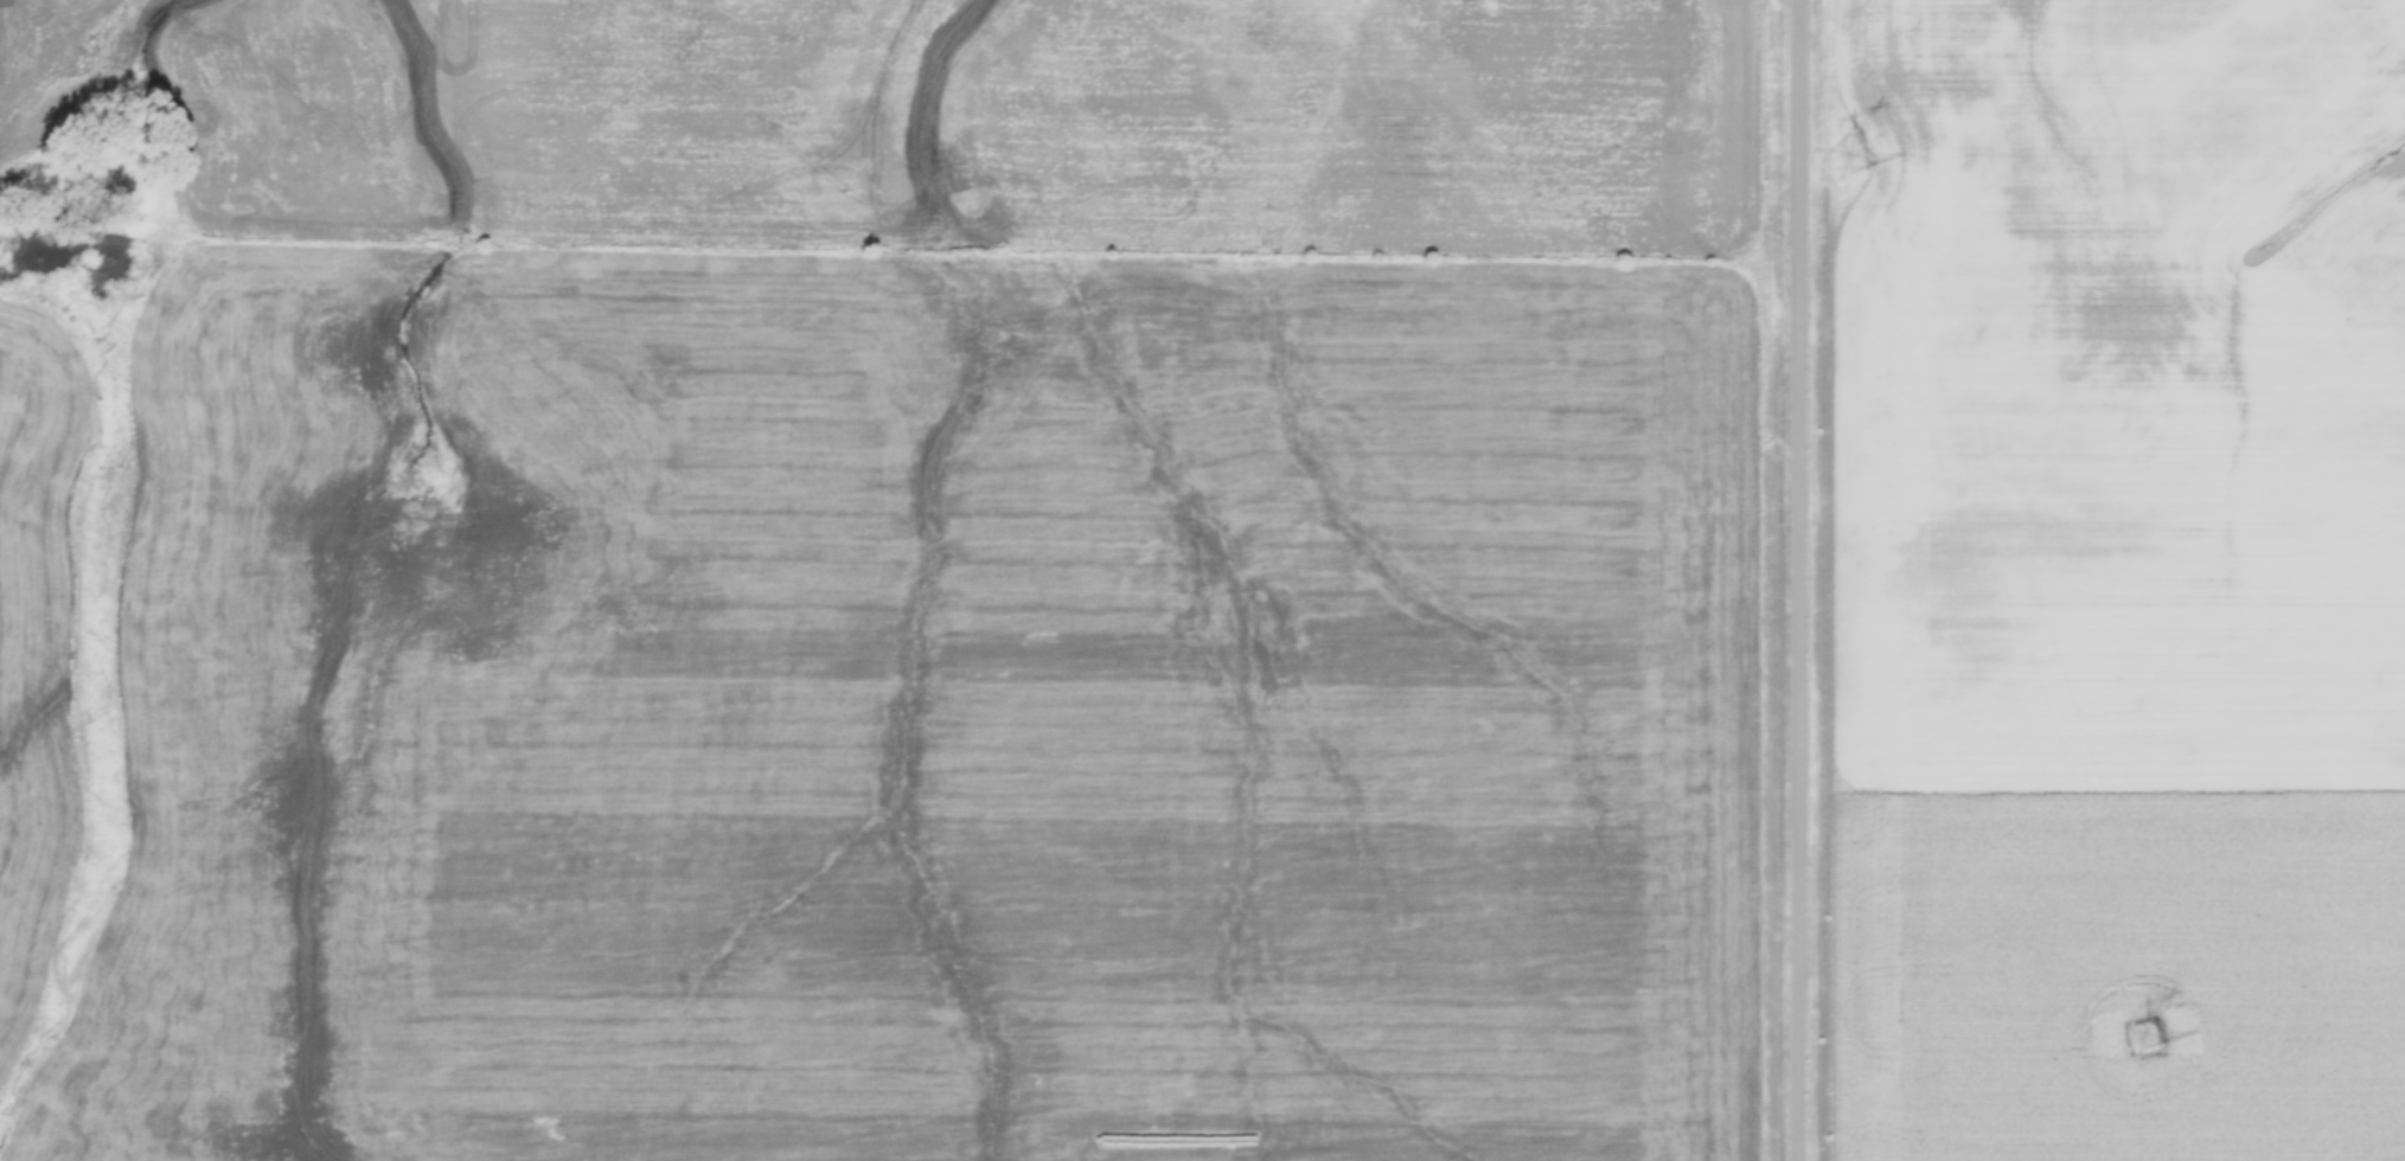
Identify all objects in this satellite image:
power tower: (1842, 137)
road: (1790, 580)
power tower: (2131, 1019)

